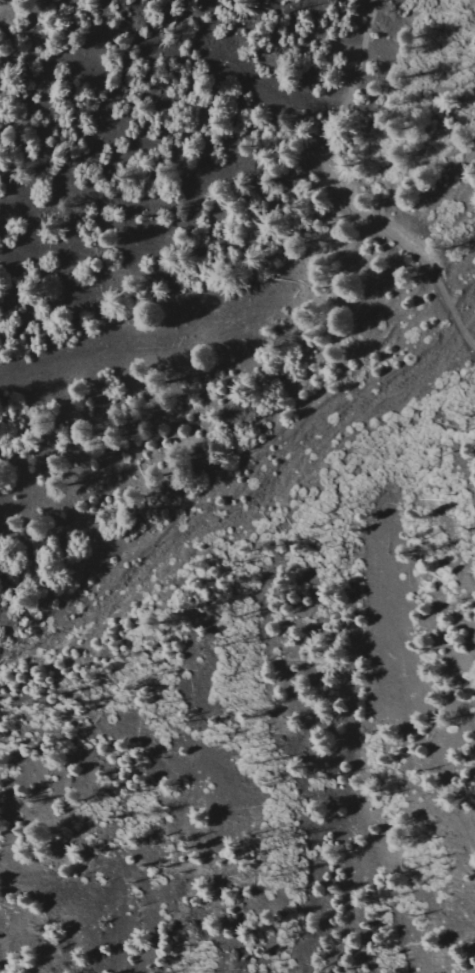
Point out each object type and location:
road: (342, 195)

